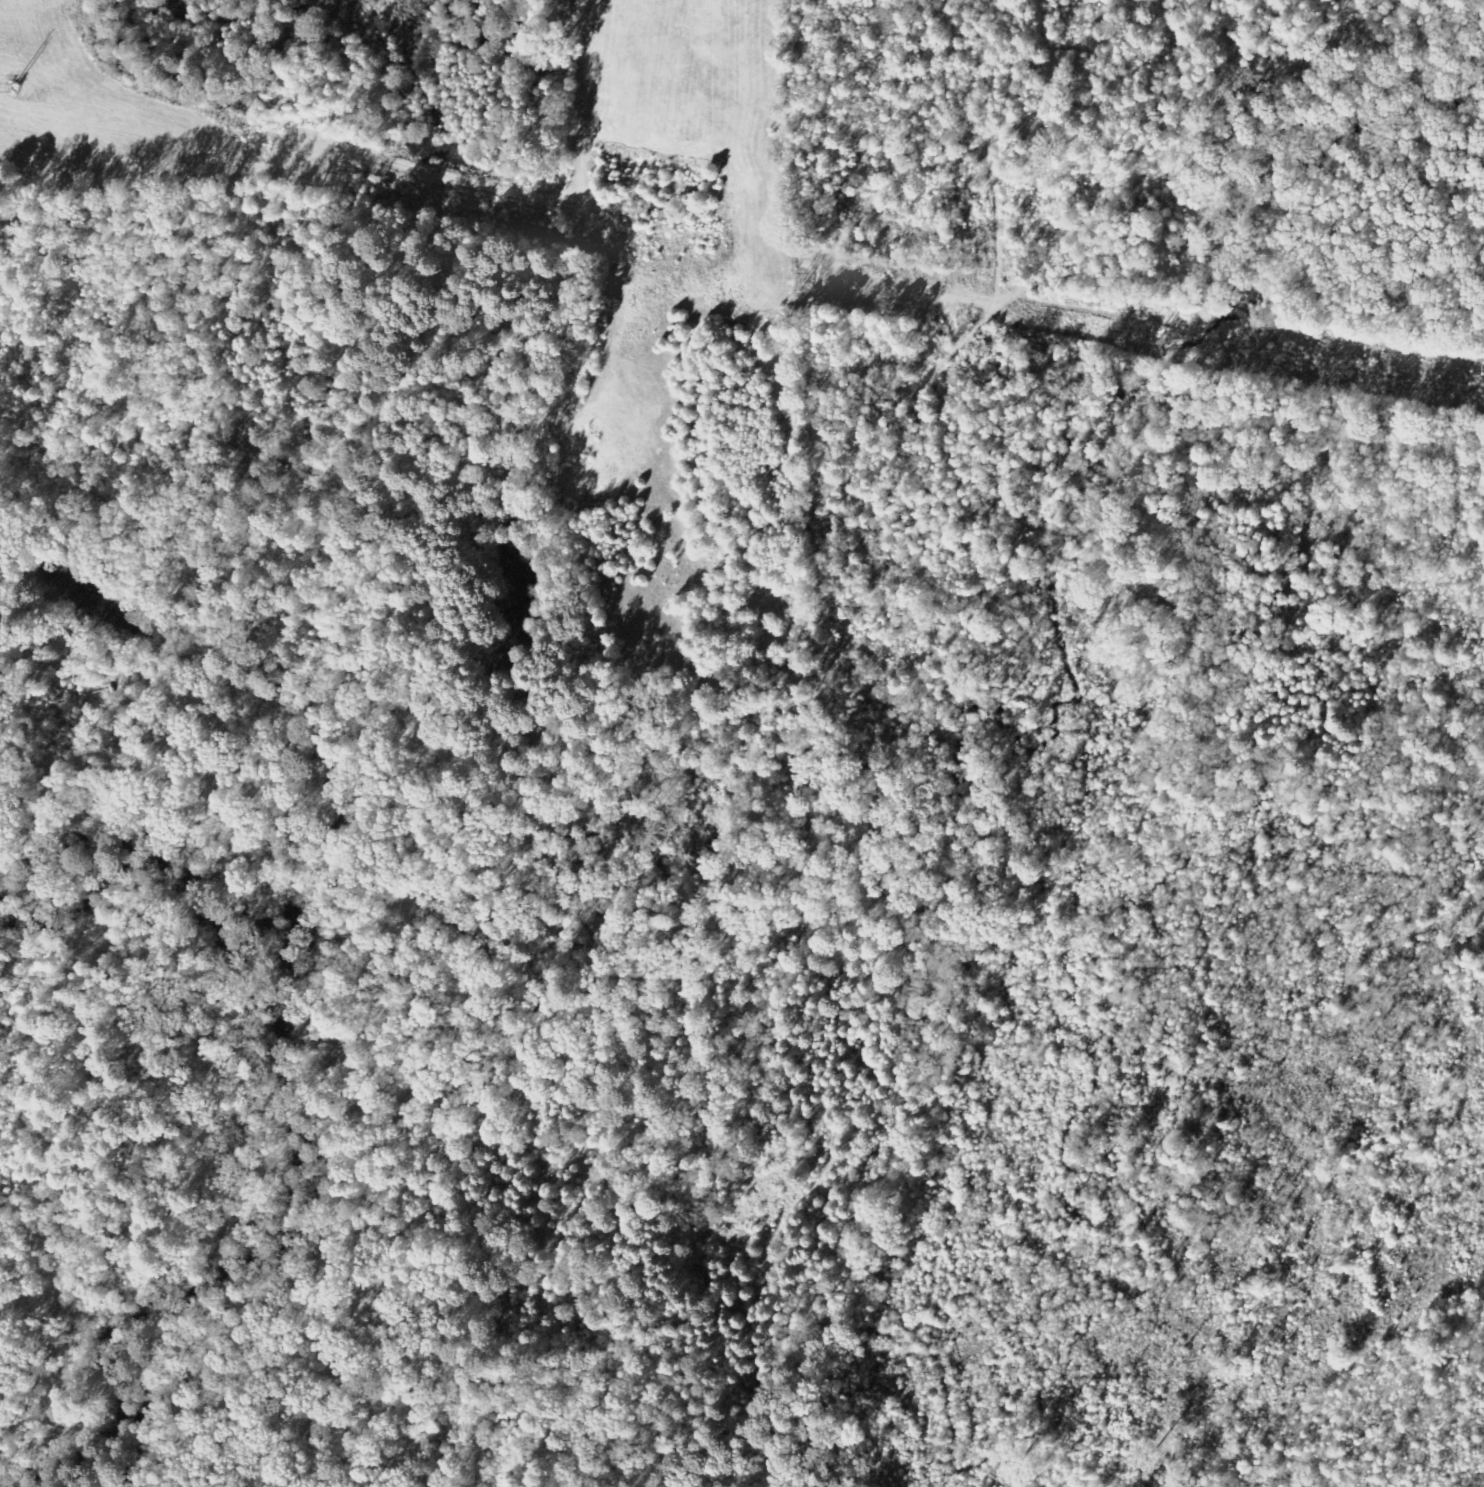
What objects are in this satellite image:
power tower: (18, 82)
power tower: (350, 163)
power tower: (804, 271)
power tower: (1165, 333)
river: (210, 1111)

